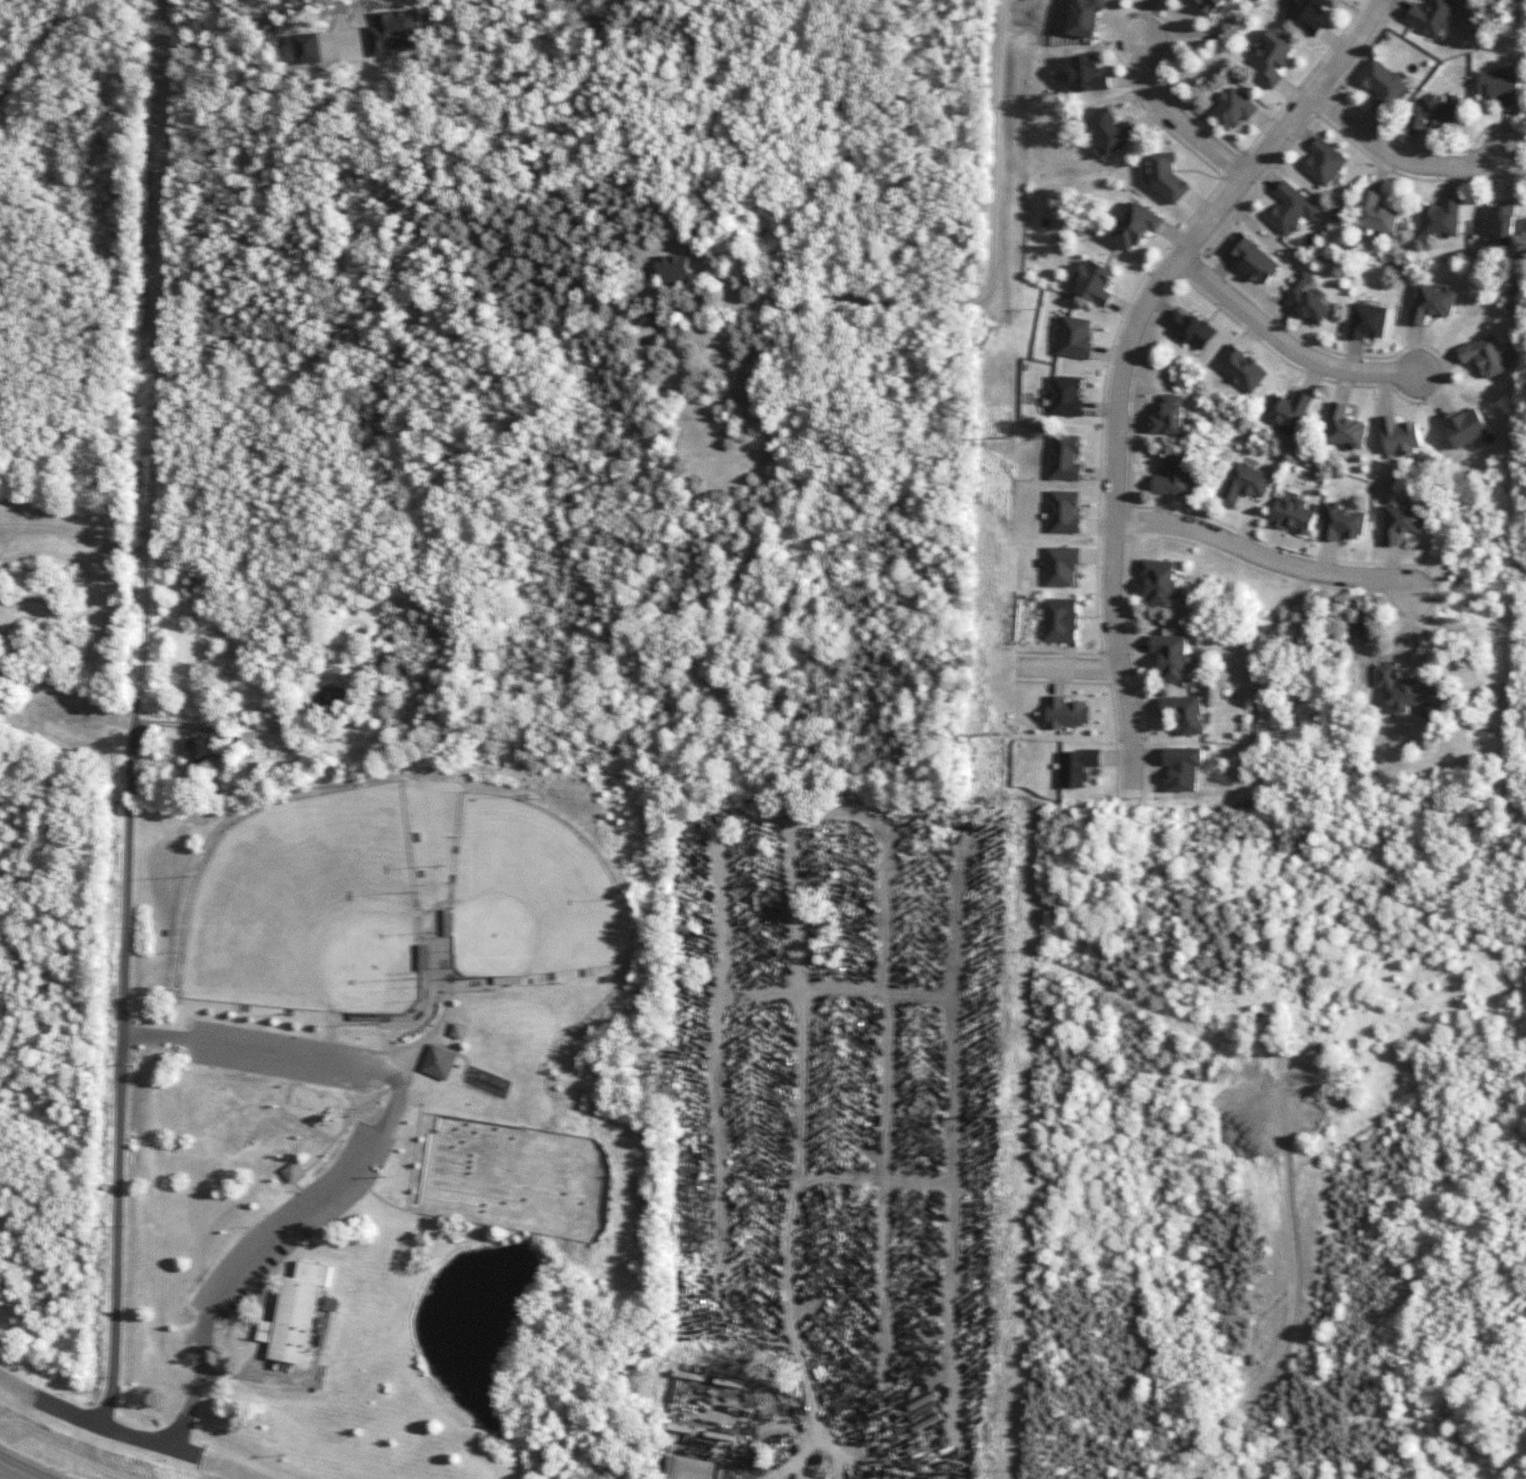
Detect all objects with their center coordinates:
building: (1211, 5)
building: (1307, 15)
building: (1432, 16)
building: (1086, 17)
road: (338, 30)
building: (393, 32)
building: (1273, 58)
building: (1088, 74)
building: (1383, 84)
building: (1500, 86)
building: (1233, 109)
building: (1434, 113)
road: (1175, 119)
building: (1111, 131)
road: (1399, 156)
building: (1324, 162)
building: (1167, 177)
building: (1289, 208)
building: (1375, 213)
building: (1441, 219)
building: (1501, 220)
building: (1136, 225)
building: (1252, 259)
building: (674, 270)
road: (984, 278)
building: (1095, 282)
building: (1307, 300)
building: (1433, 303)
building: (1368, 321)
building: (1190, 329)
building: (1076, 337)
road: (1287, 344)
building: (1487, 356)
road: (1122, 358)
building: (1241, 369)
building: (1066, 396)
building: (1288, 411)
building: (1169, 416)
building: (1344, 427)
building: (1466, 427)
power tower: (1009, 436)
building: (1401, 436)
building: (1066, 457)
building: (1175, 476)
building: (1244, 484)
building: (1065, 512)
building: (1293, 515)
building: (1401, 522)
building: (1342, 523)
road: (1263, 559)
building: (1061, 566)
building: (1159, 581)
building: (1060, 620)
building: (1172, 657)
road: (1067, 665)
building: (1408, 691)
building: (1067, 713)
building: (1185, 714)
power tower: (1007, 734)
building: (255, 739)
building: (201, 751)
building: (1077, 767)
building: (1183, 768)
road: (128, 874)
park: (531, 895)
road: (434, 906)
park: (311, 908)
road: (461, 989)
road: (447, 1022)
road: (414, 1023)
building: (459, 1030)
road: (388, 1037)
road: (433, 1039)
road: (418, 1042)
road: (450, 1043)
road: (447, 1050)
building: (439, 1062)
road: (467, 1064)
park: (405, 1090)
road: (370, 1099)
road: (431, 1116)
power tower: (997, 1117)
road: (331, 1145)
parking lot: (355, 1166)
building: (294, 1173)
building: (517, 1178)
park: (517, 1178)
road: (335, 1184)
road: (408, 1193)
road: (303, 1195)
road: (416, 1209)
road: (116, 1230)
building: (295, 1314)
road: (47, 1403)
building: (688, 1468)
road: (16, 1472)

